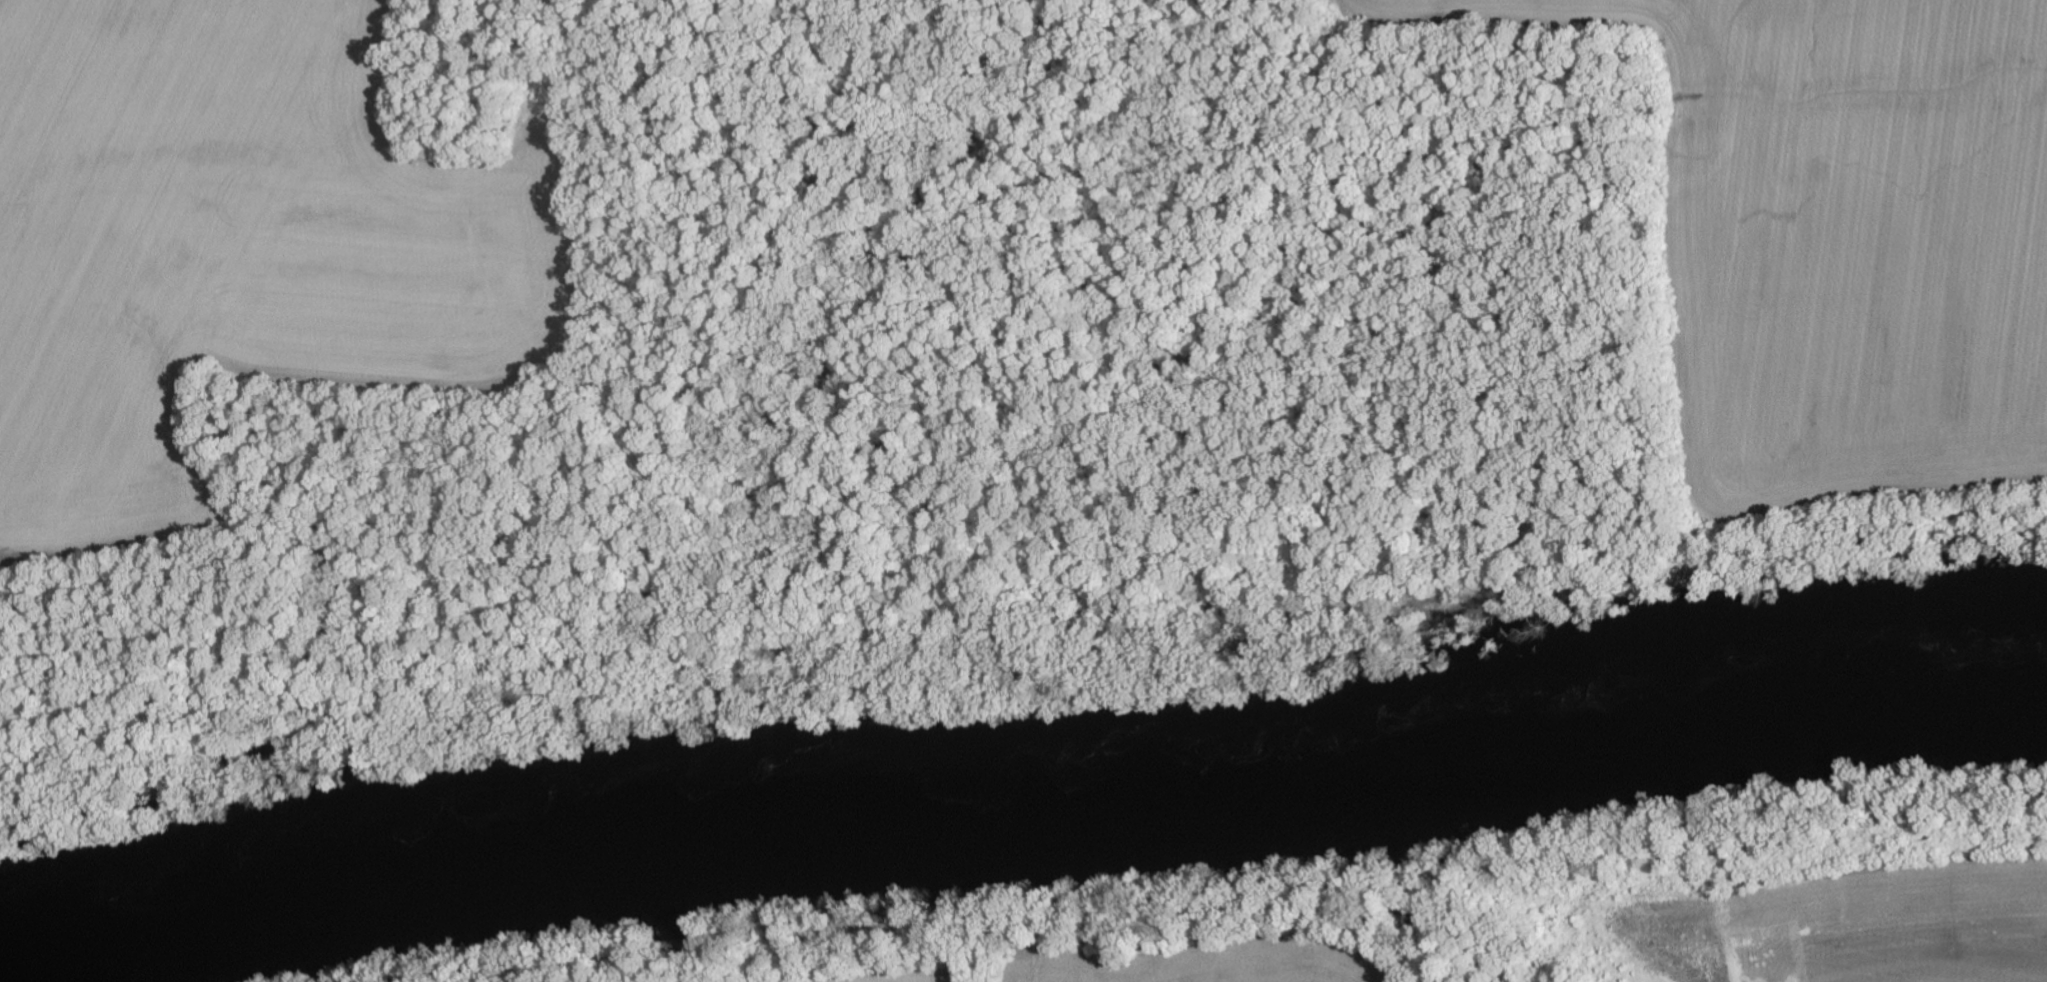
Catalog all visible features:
river: (1019, 779)

